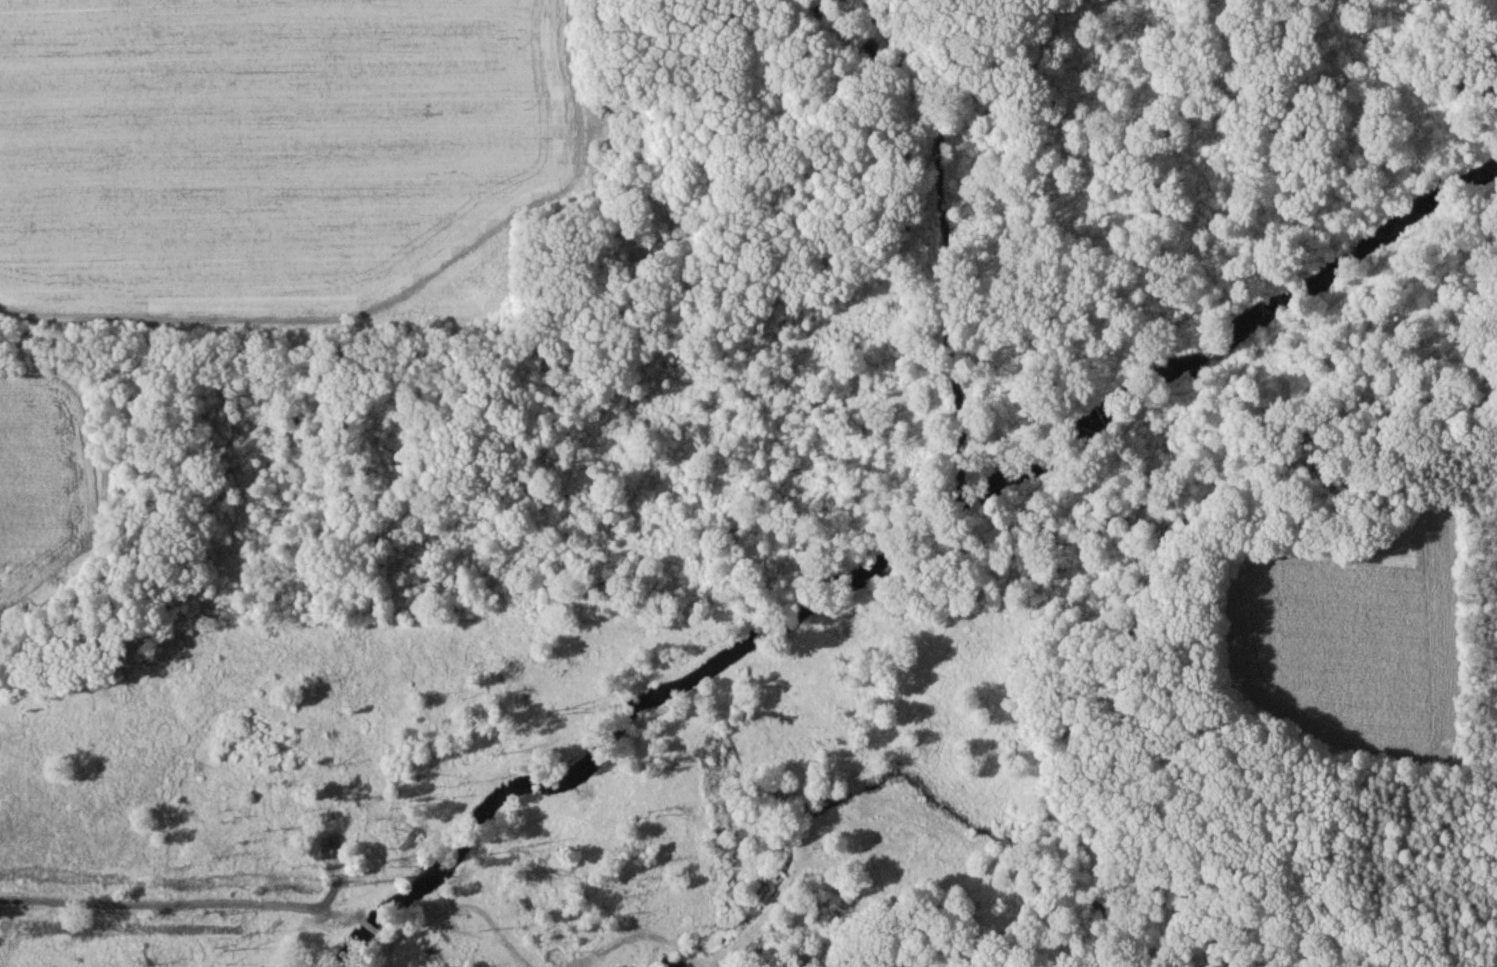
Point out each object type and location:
road: (153, 905)

